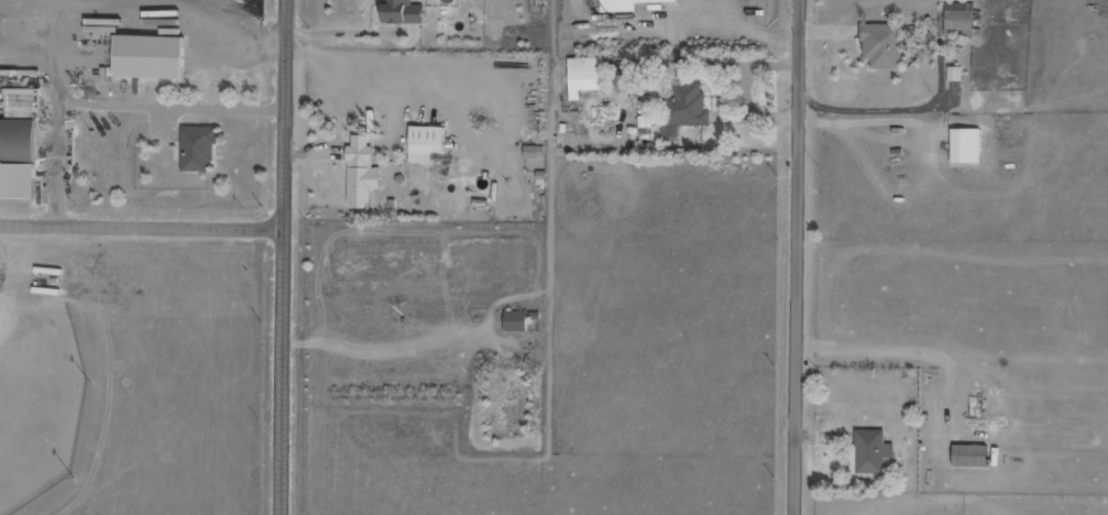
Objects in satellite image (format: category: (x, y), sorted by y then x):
building: (628, 4)
building: (404, 12)
building: (959, 20)
building: (882, 45)
building: (152, 57)
building: (955, 74)
building: (586, 76)
building: (22, 102)
building: (687, 106)
building: (427, 143)
building: (966, 146)
building: (198, 149)
building: (536, 152)
building: (19, 160)
building: (362, 173)
road: (143, 223)
road: (800, 256)
road: (285, 257)
building: (517, 321)
building: (871, 451)
building: (972, 456)

